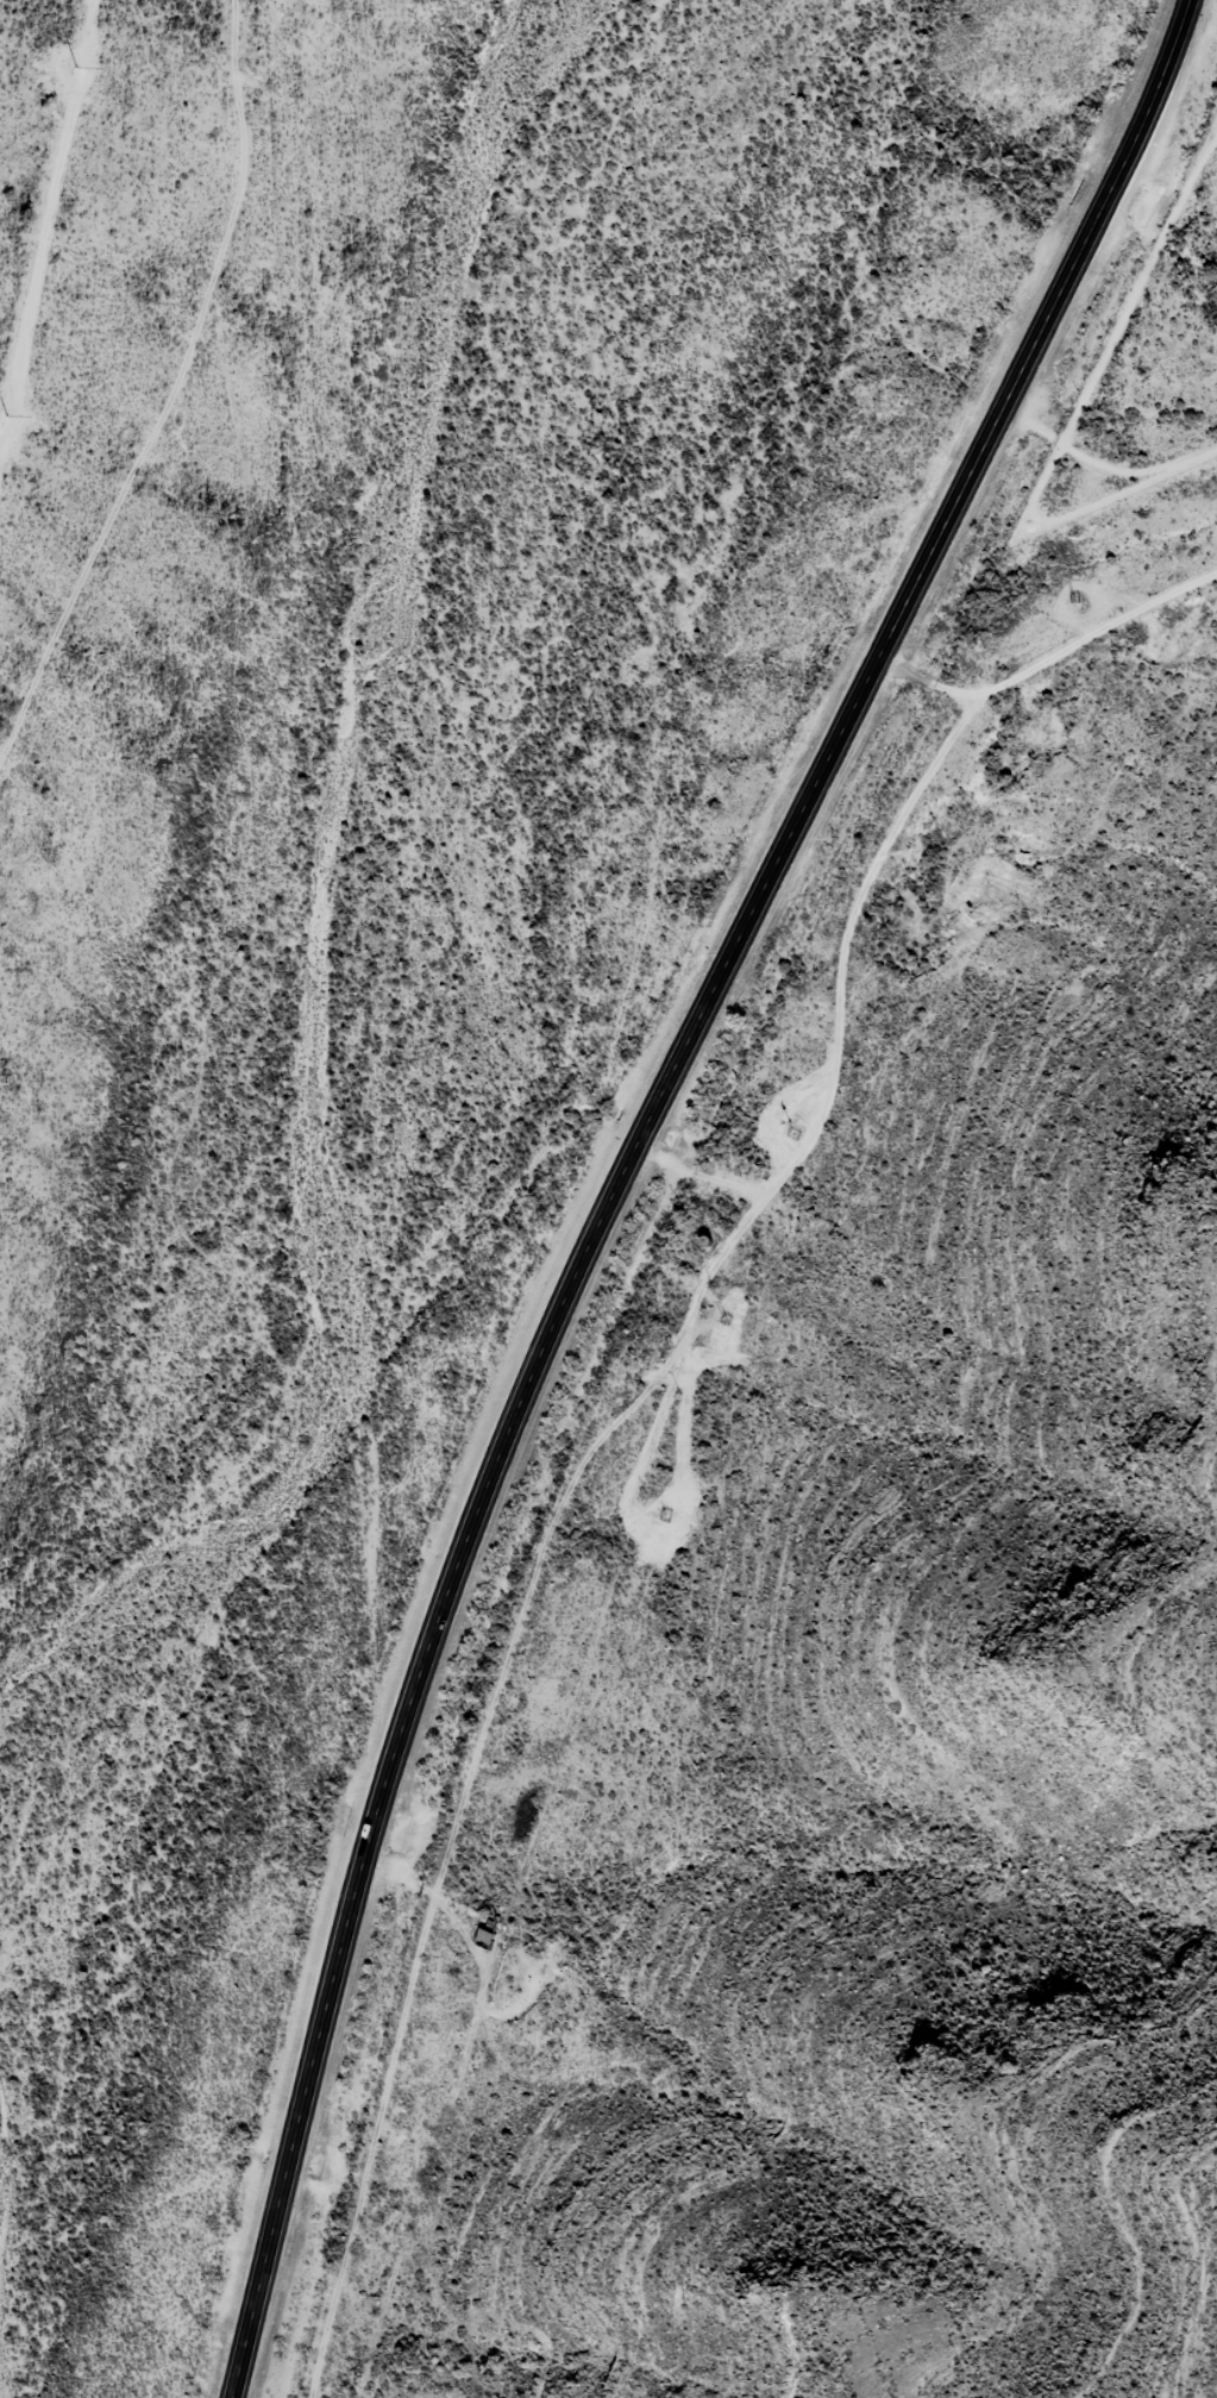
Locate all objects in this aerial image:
road: (171, 389)
road: (1048, 657)
road: (623, 1166)
building: (484, 1937)

